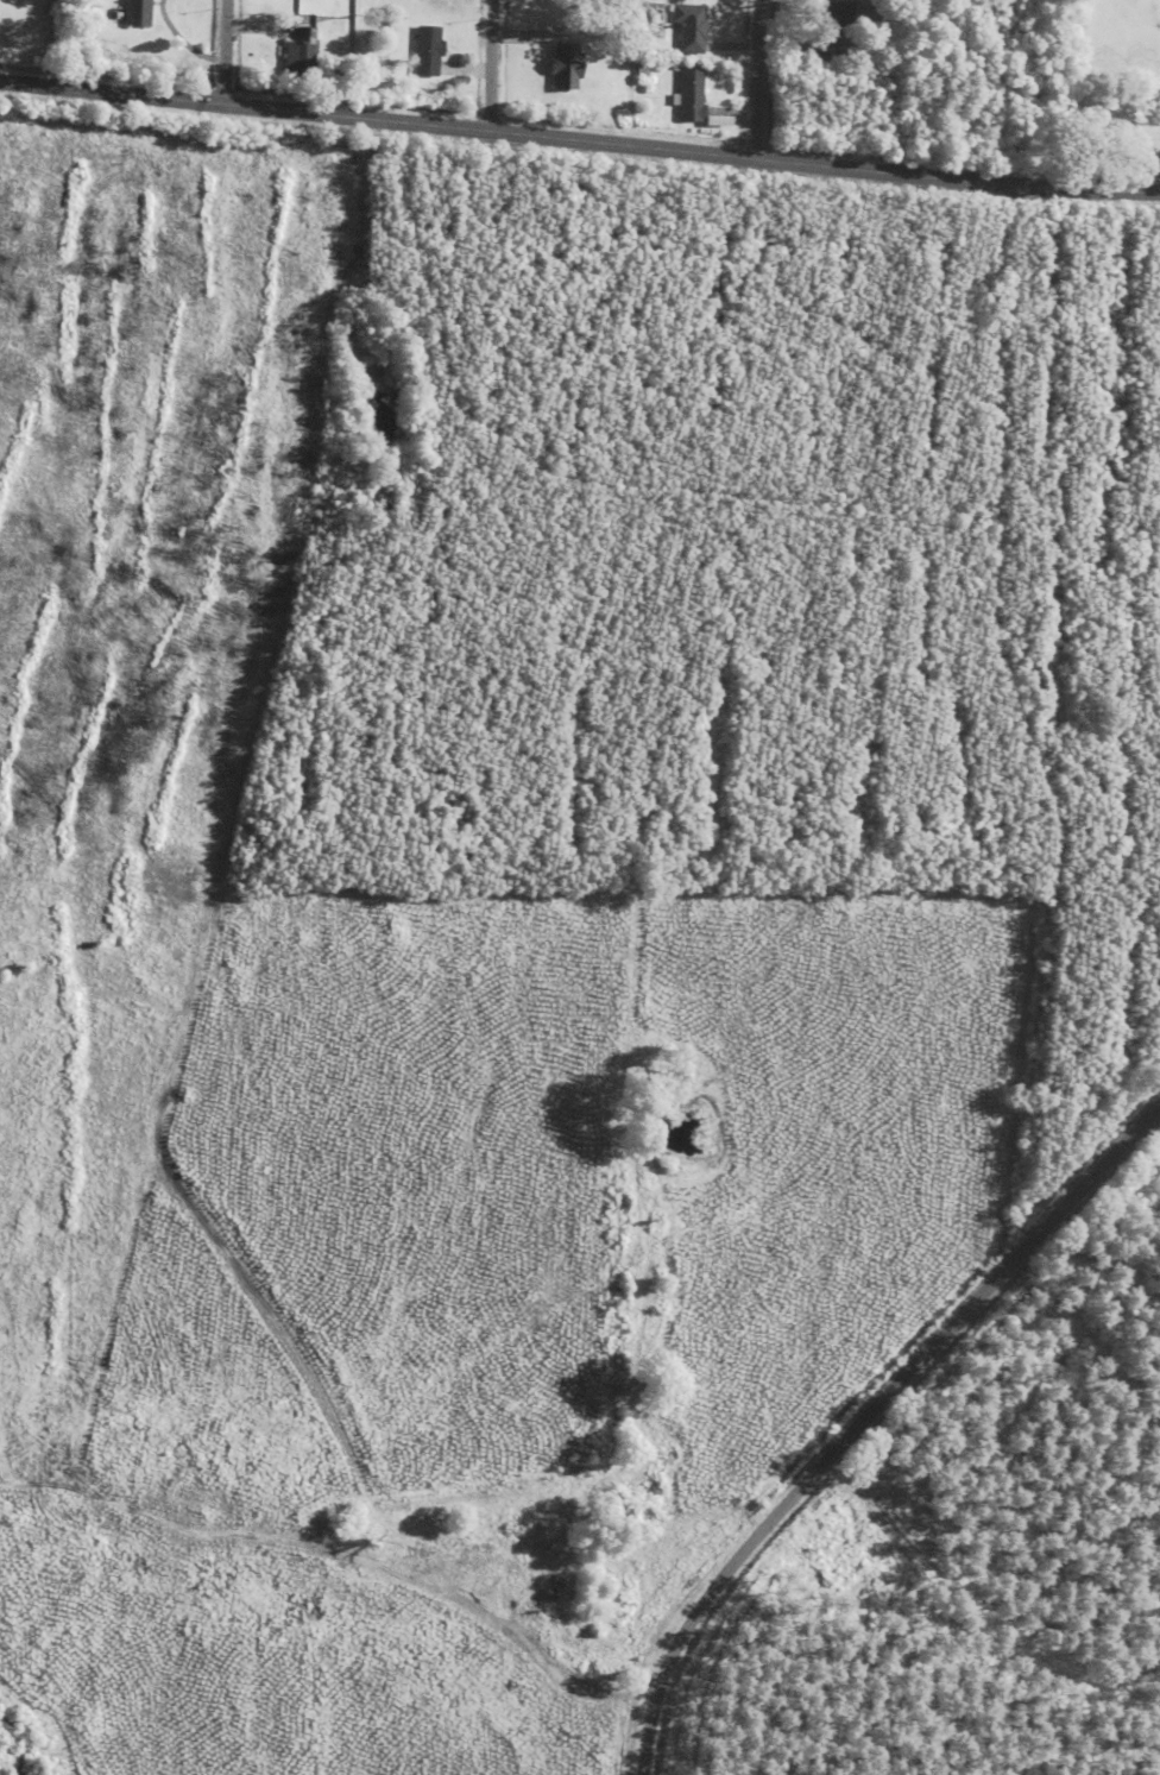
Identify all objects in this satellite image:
road: (222, 48)
road: (487, 61)
road: (757, 75)
road: (579, 131)
road: (863, 1416)

